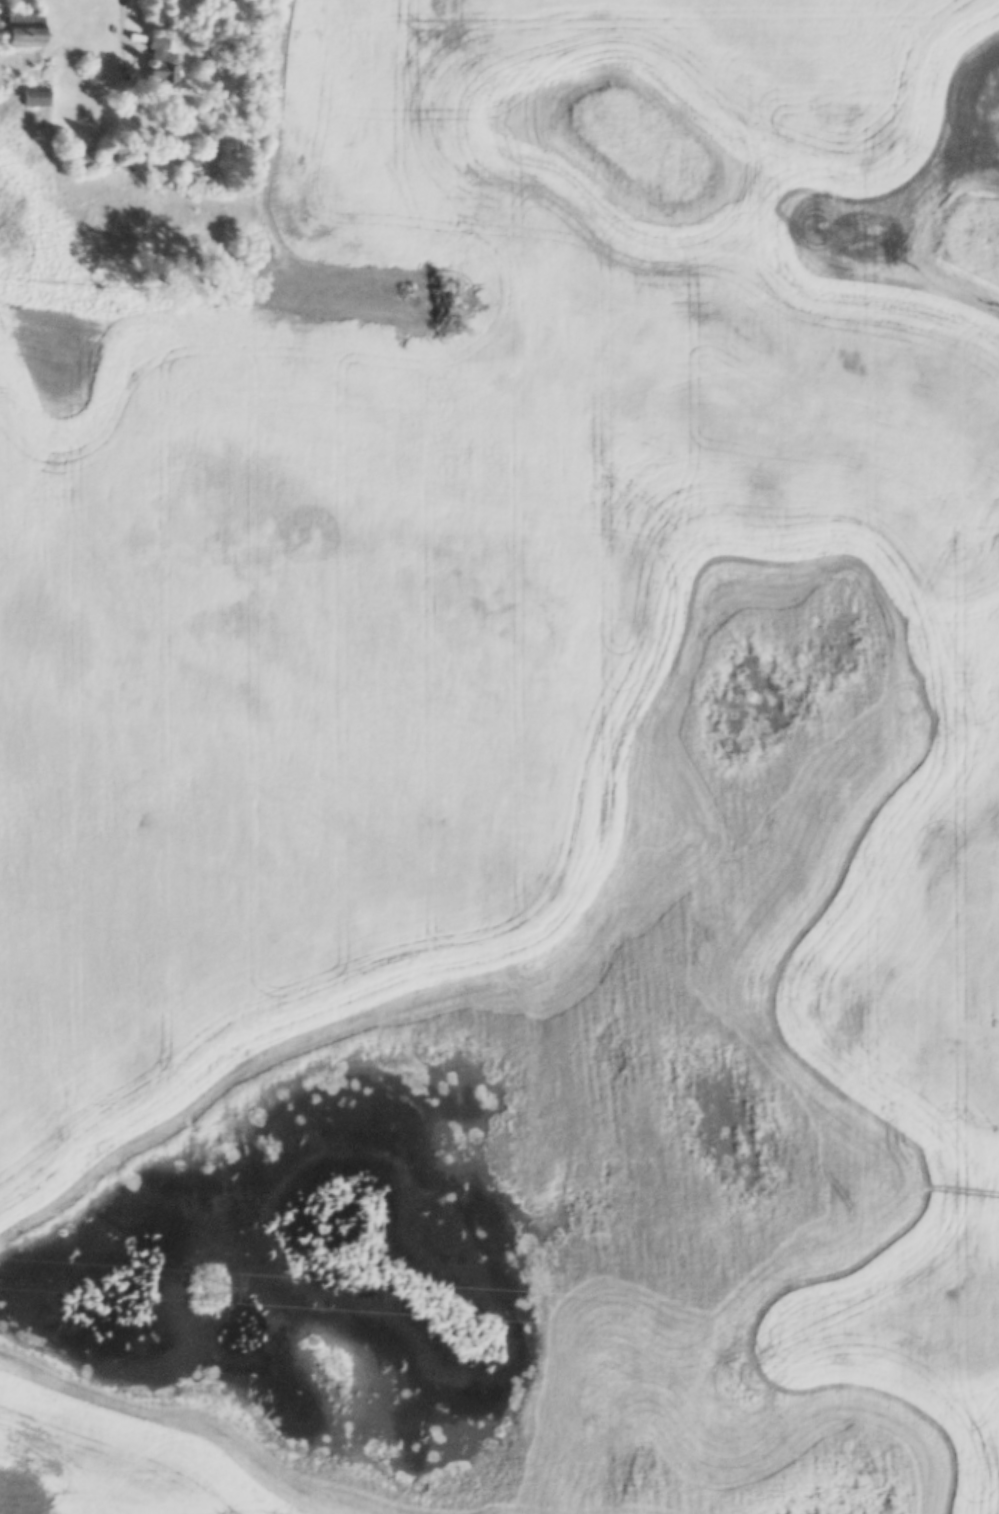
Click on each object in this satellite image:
road: (125, 26)
building: (27, 29)
building: (161, 62)
building: (87, 161)
building: (186, 161)
power tower: (211, 1287)

